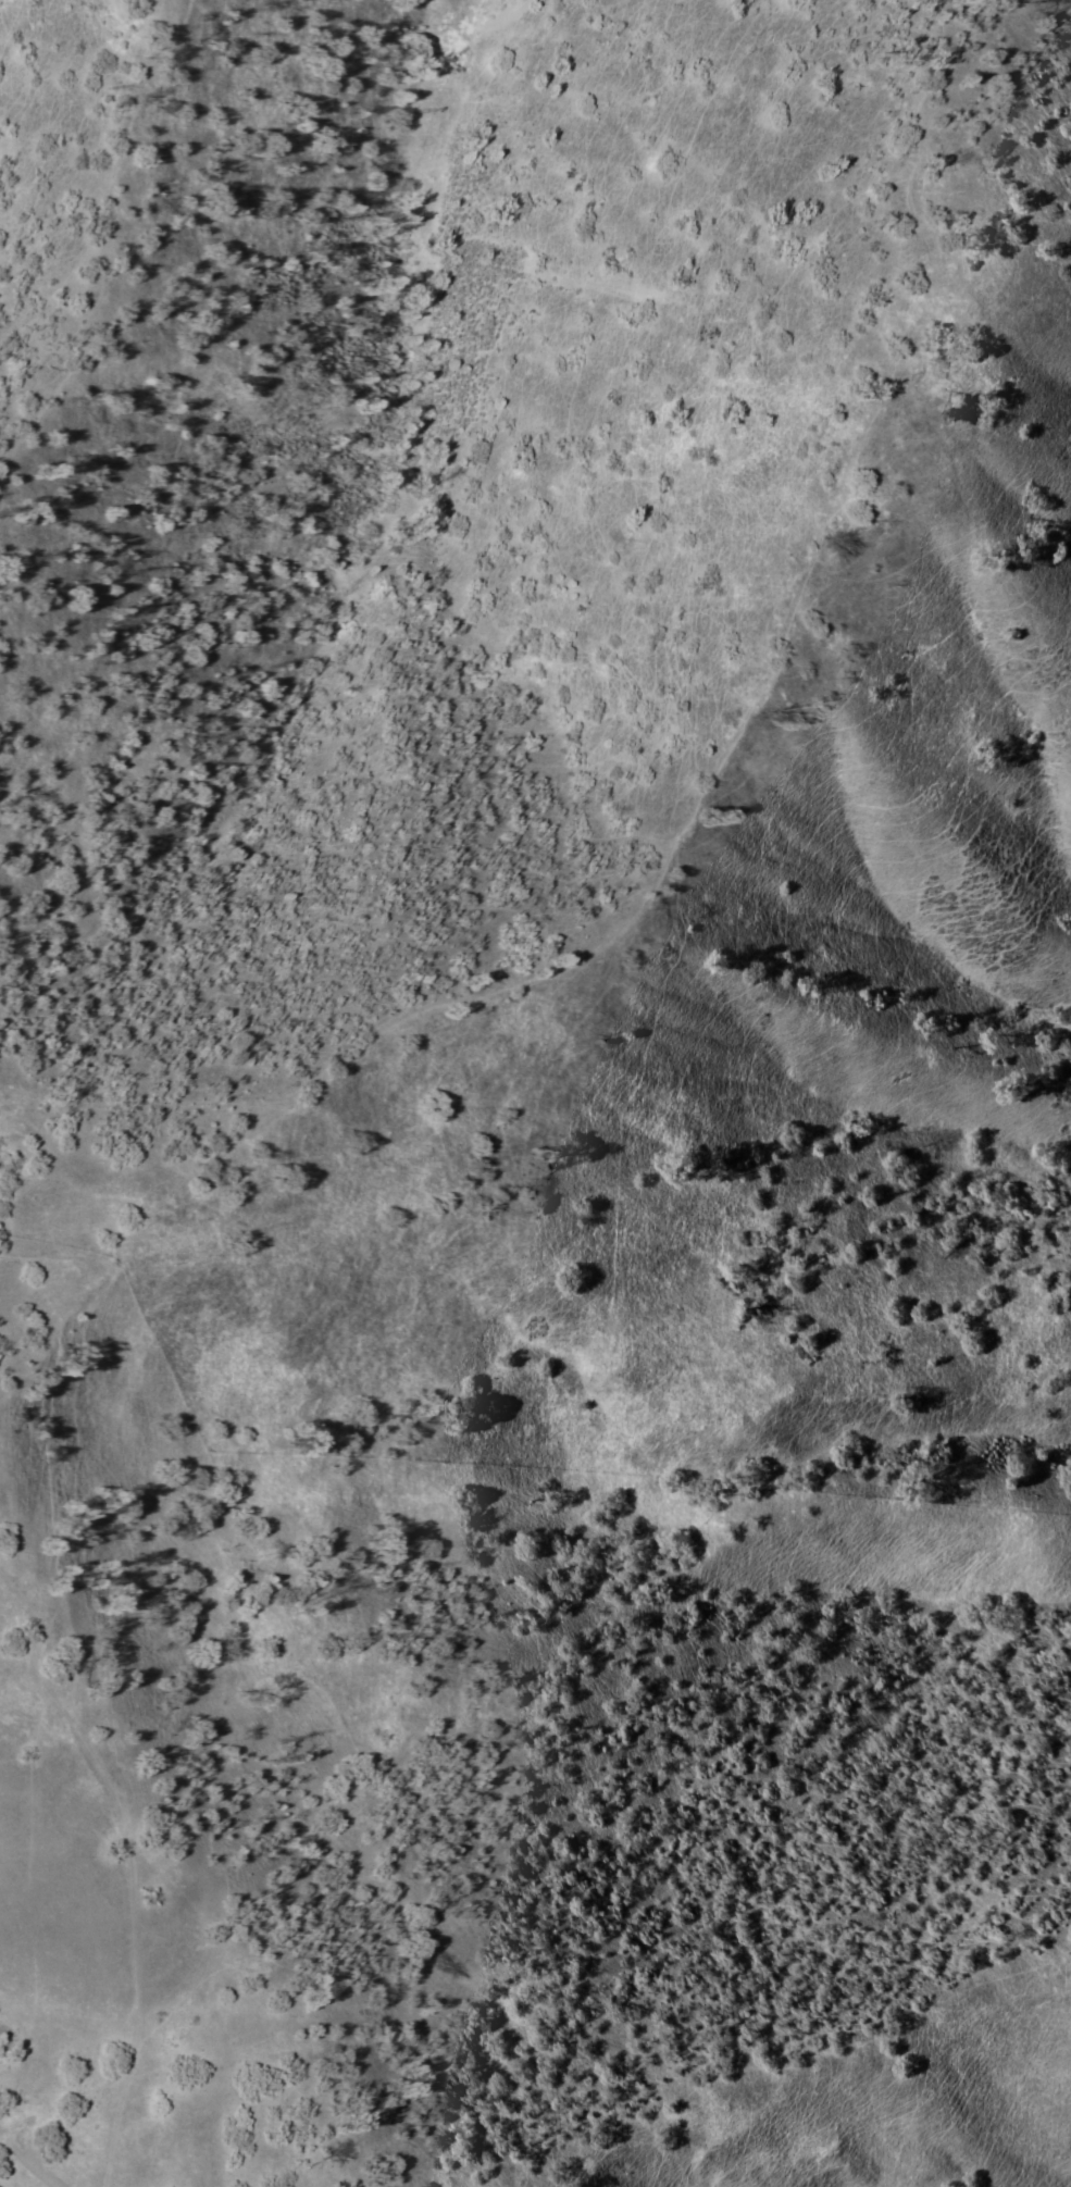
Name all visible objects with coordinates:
road: (233, 1871)
road: (125, 2089)

